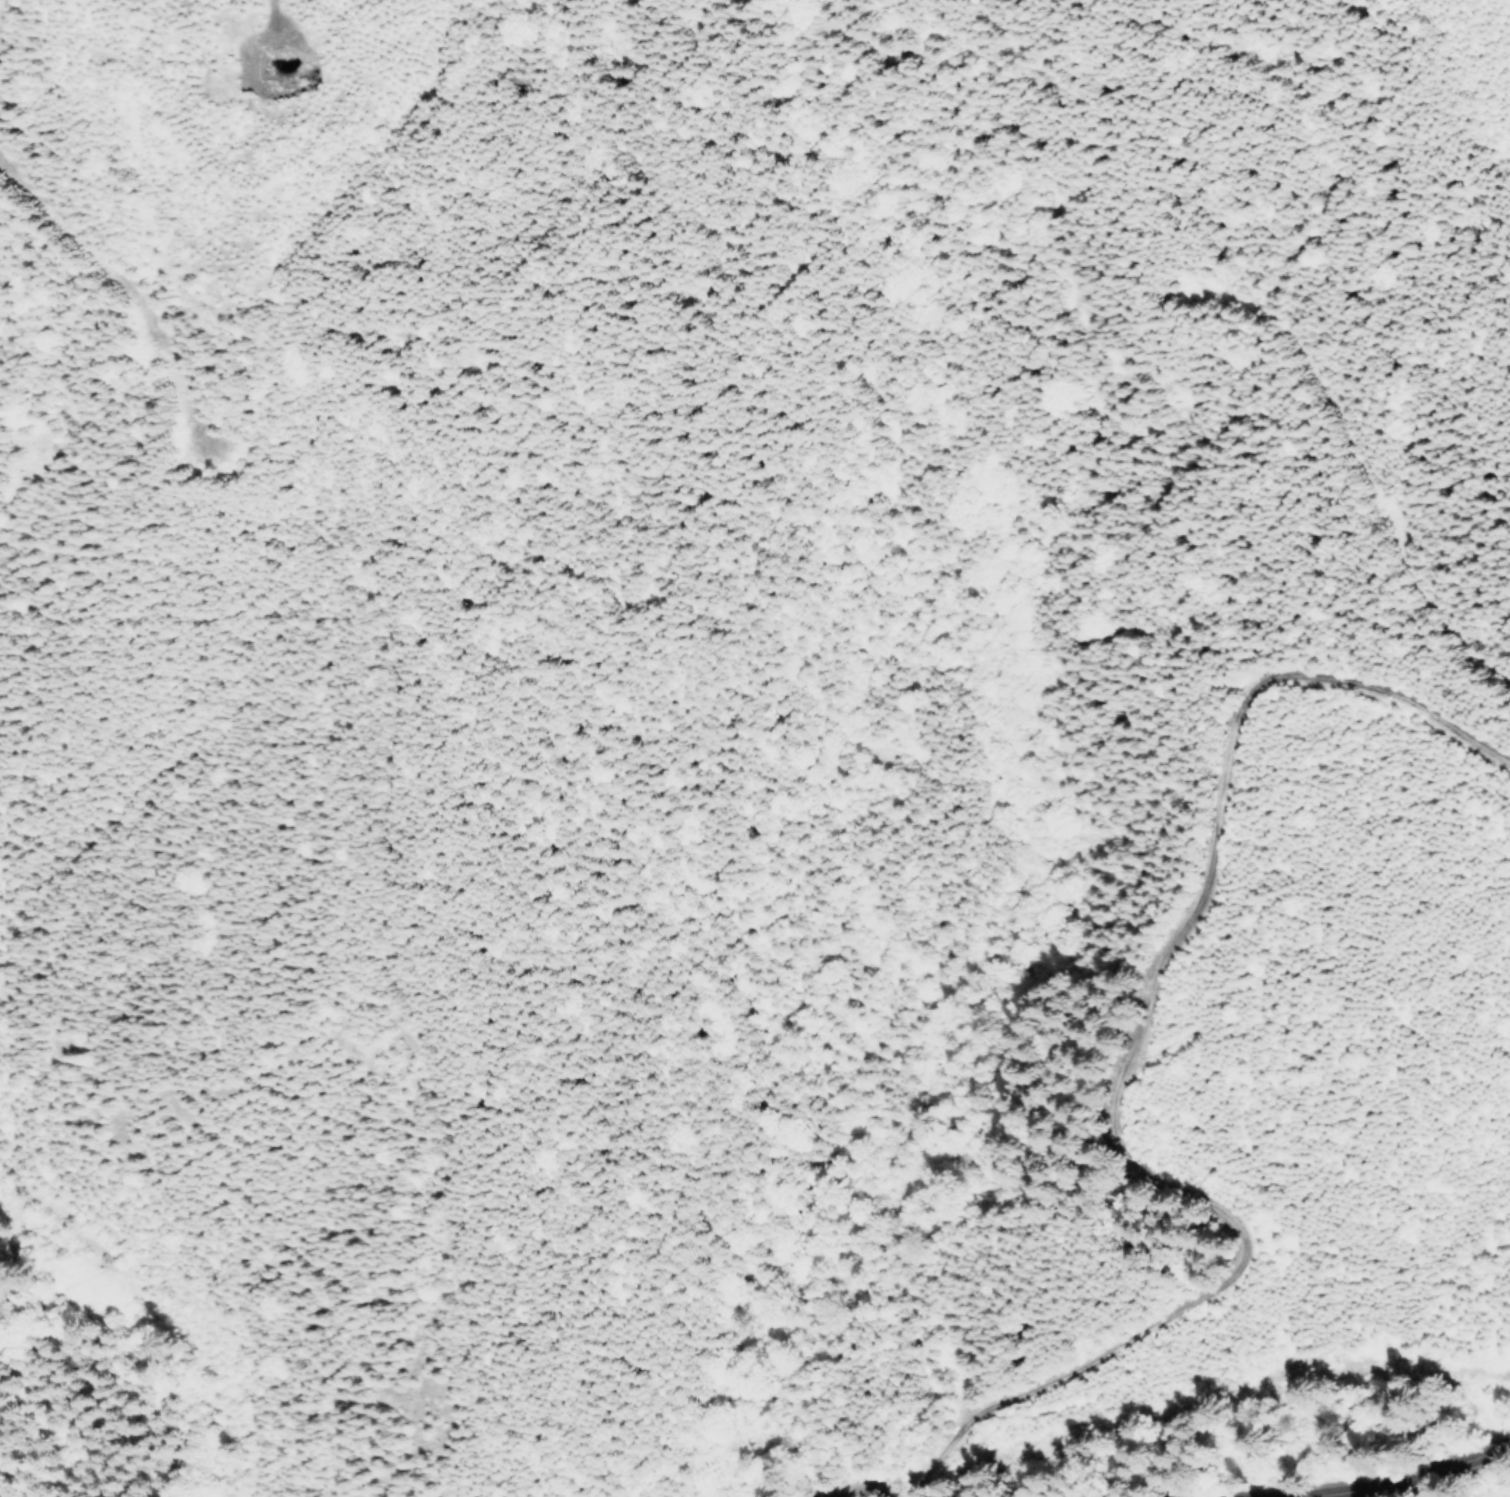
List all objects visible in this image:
road: (1384, 1488)

